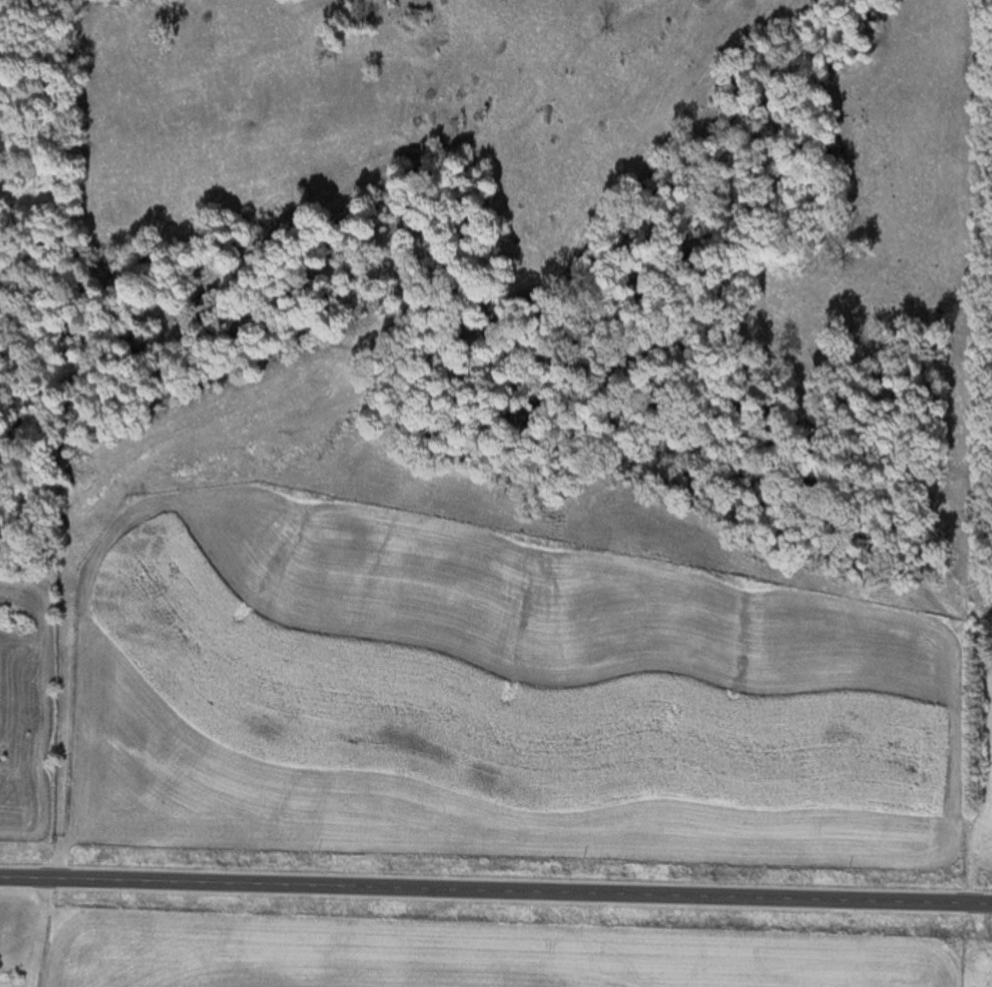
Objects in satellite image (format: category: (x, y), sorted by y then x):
road: (496, 901)

